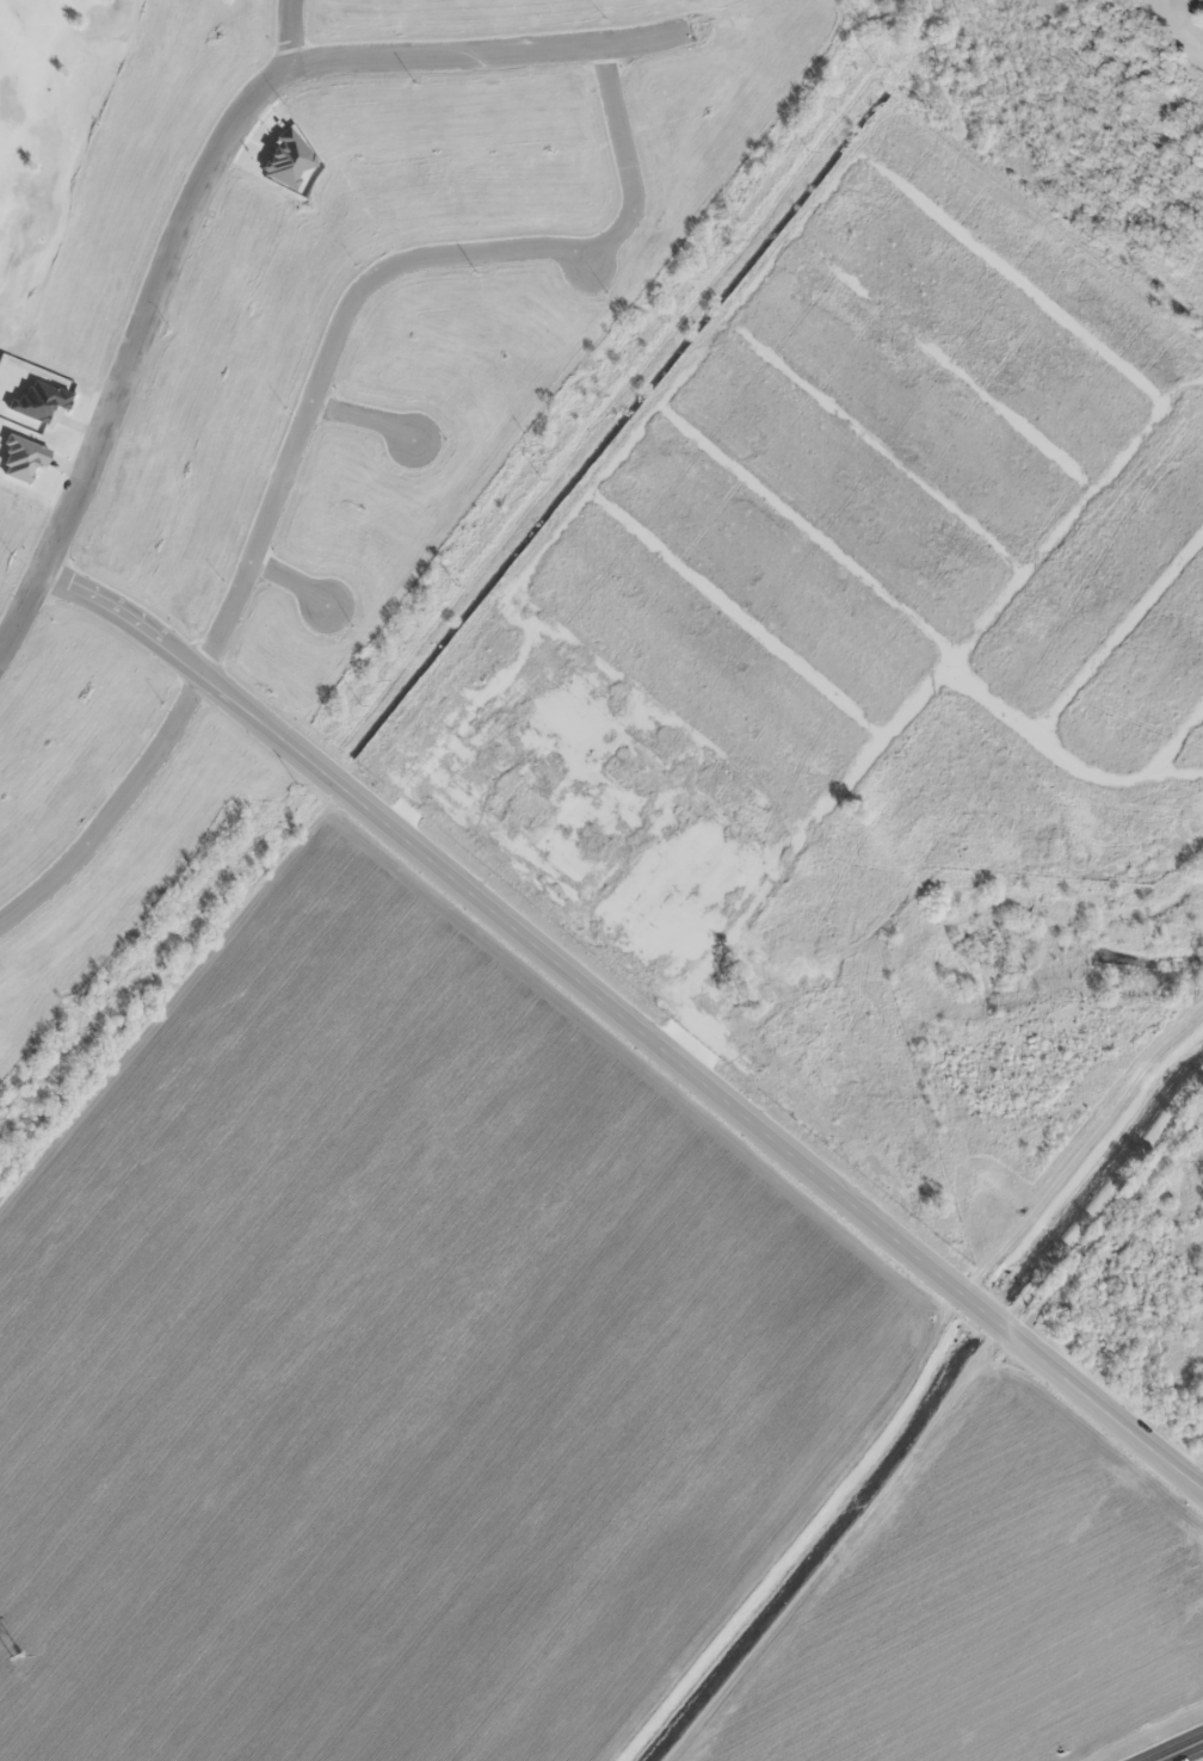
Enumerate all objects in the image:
road: (292, 30)
road: (211, 157)
road: (304, 414)
road: (363, 418)
road: (291, 580)
road: (631, 1019)
power tower: (17, 1657)
road: (1184, 1751)

